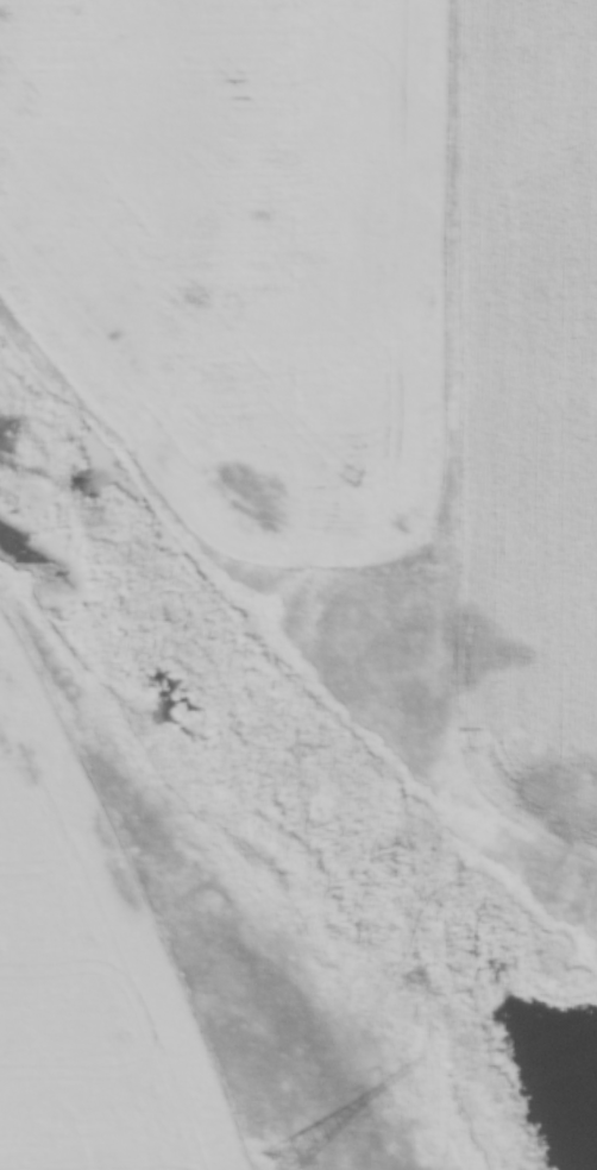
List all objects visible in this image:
power tower: (276, 1160)

